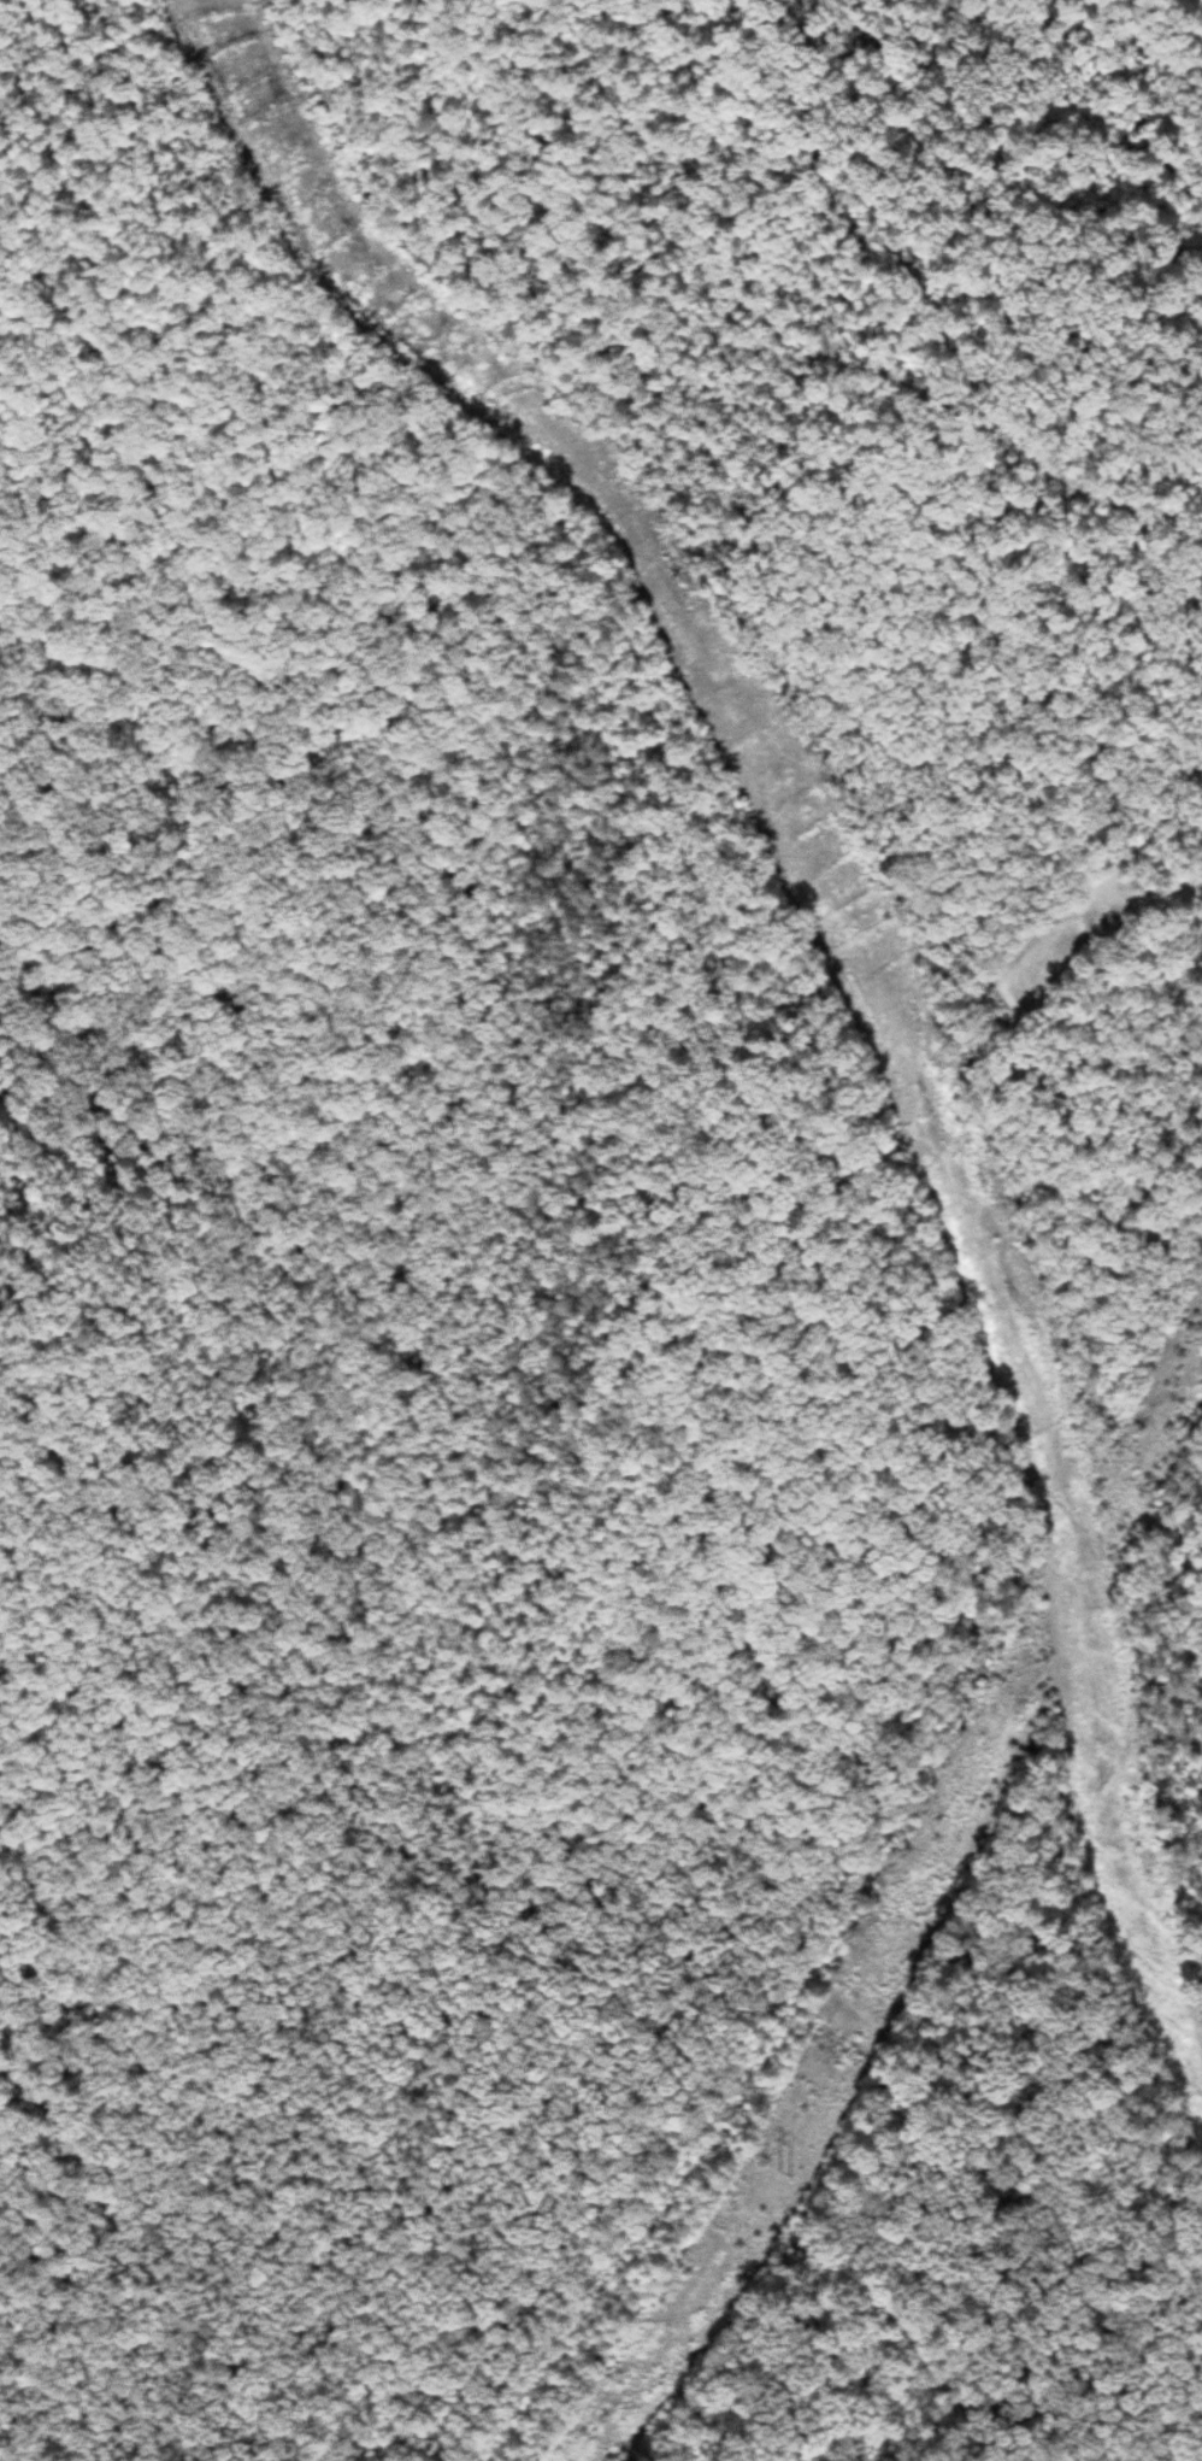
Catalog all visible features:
power tower: (776, 2174)

